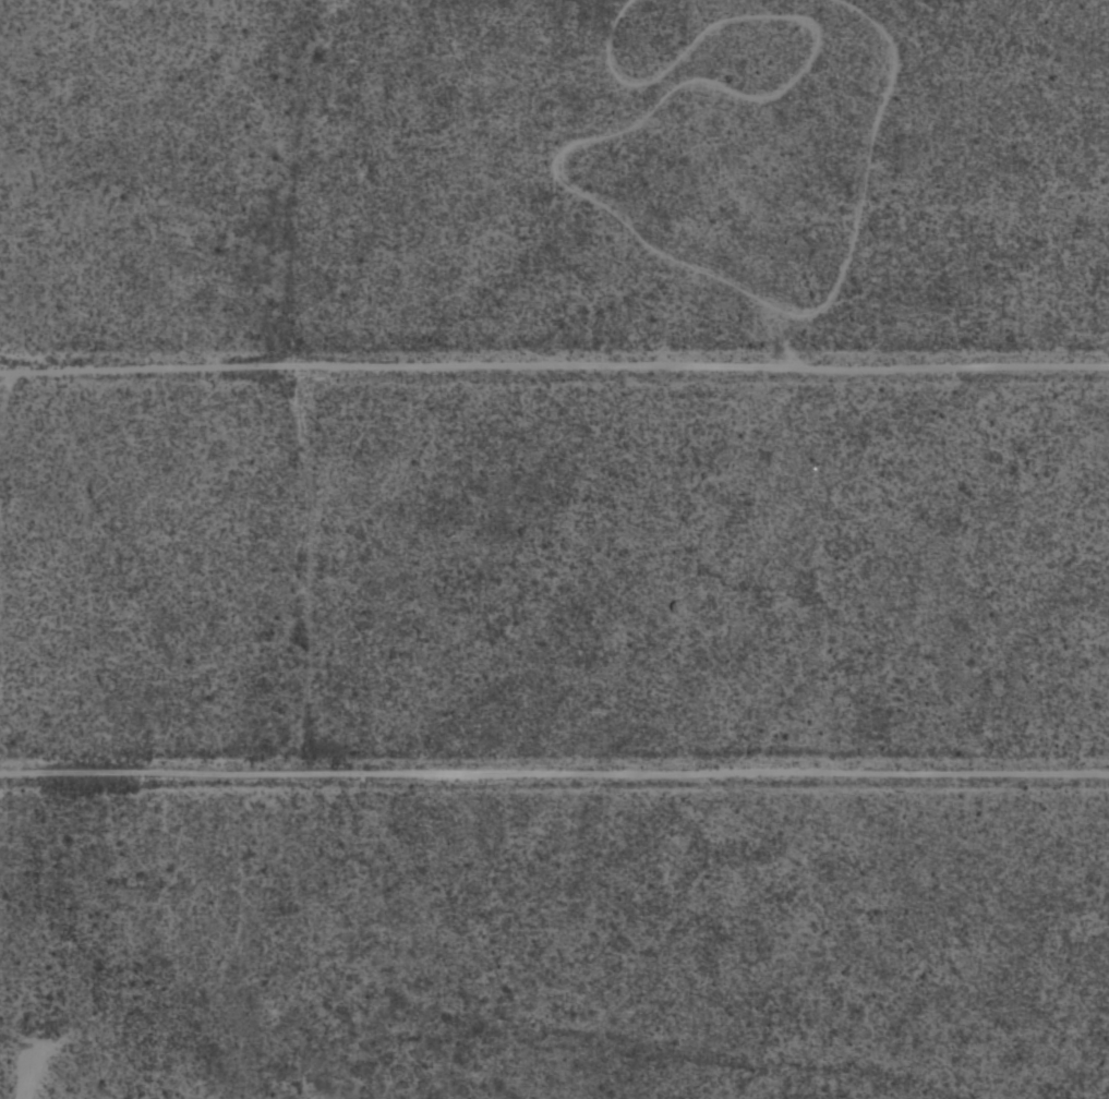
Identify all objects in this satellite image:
road: (554, 364)
road: (554, 773)

